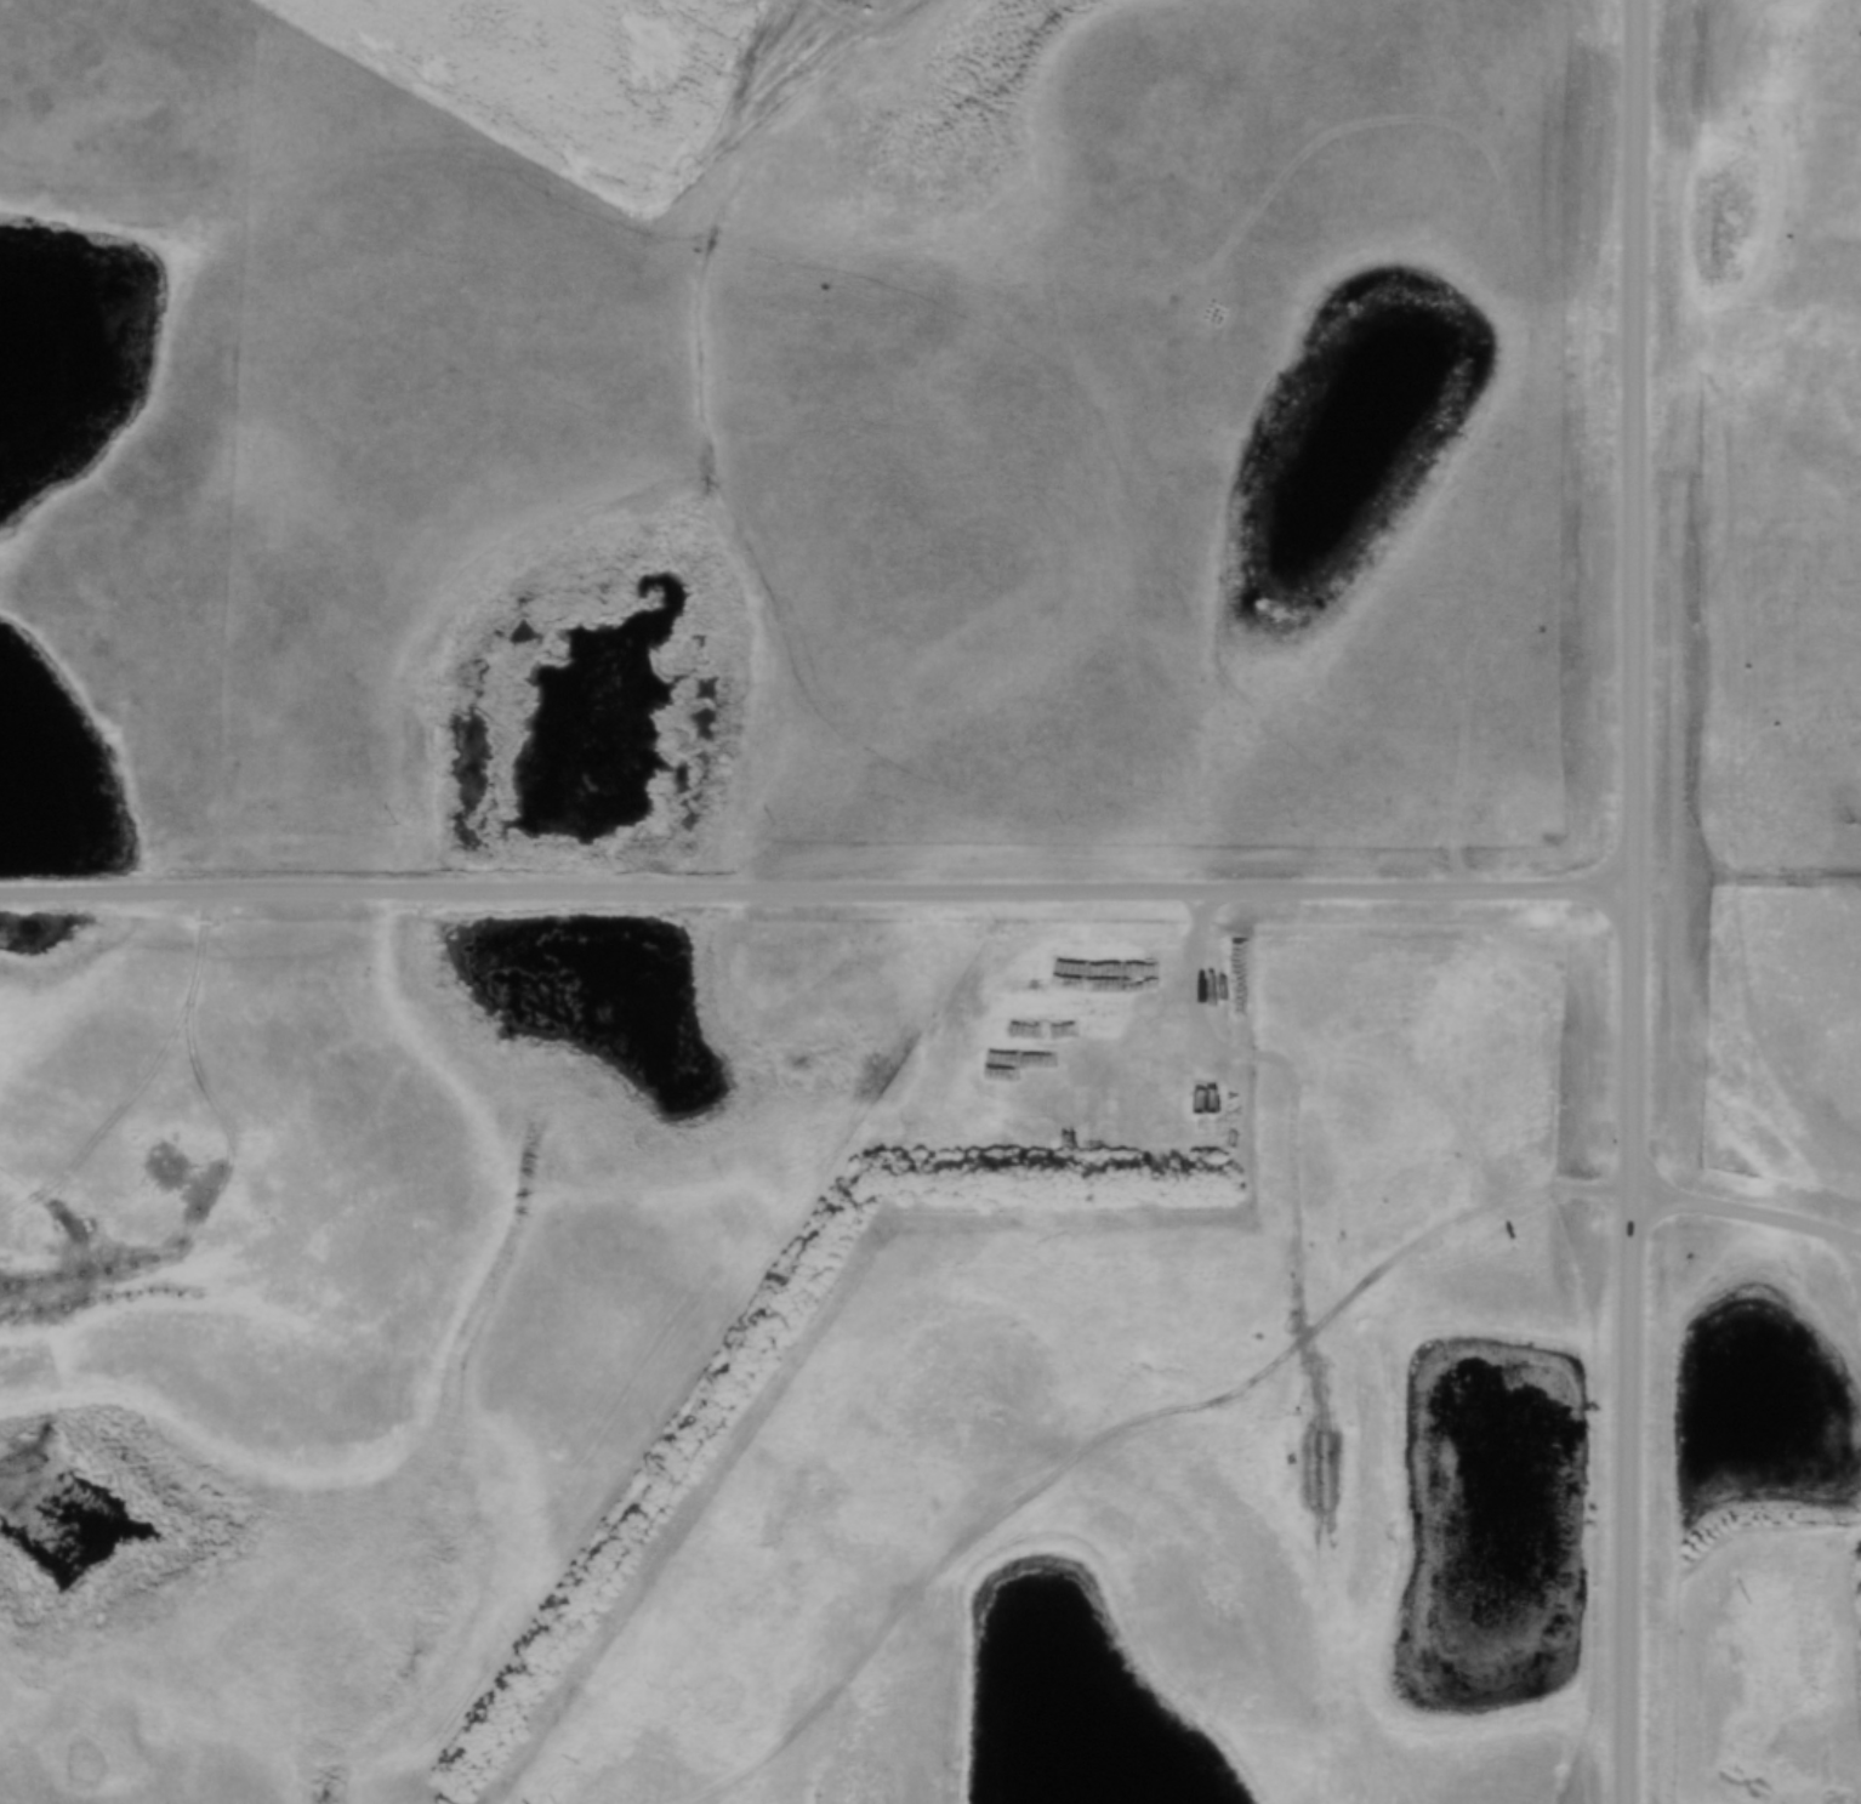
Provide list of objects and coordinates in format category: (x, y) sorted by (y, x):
road: (816, 897)
road: (1633, 901)
road: (1531, 1191)
road: (1747, 1217)
road: (1859, 1282)

